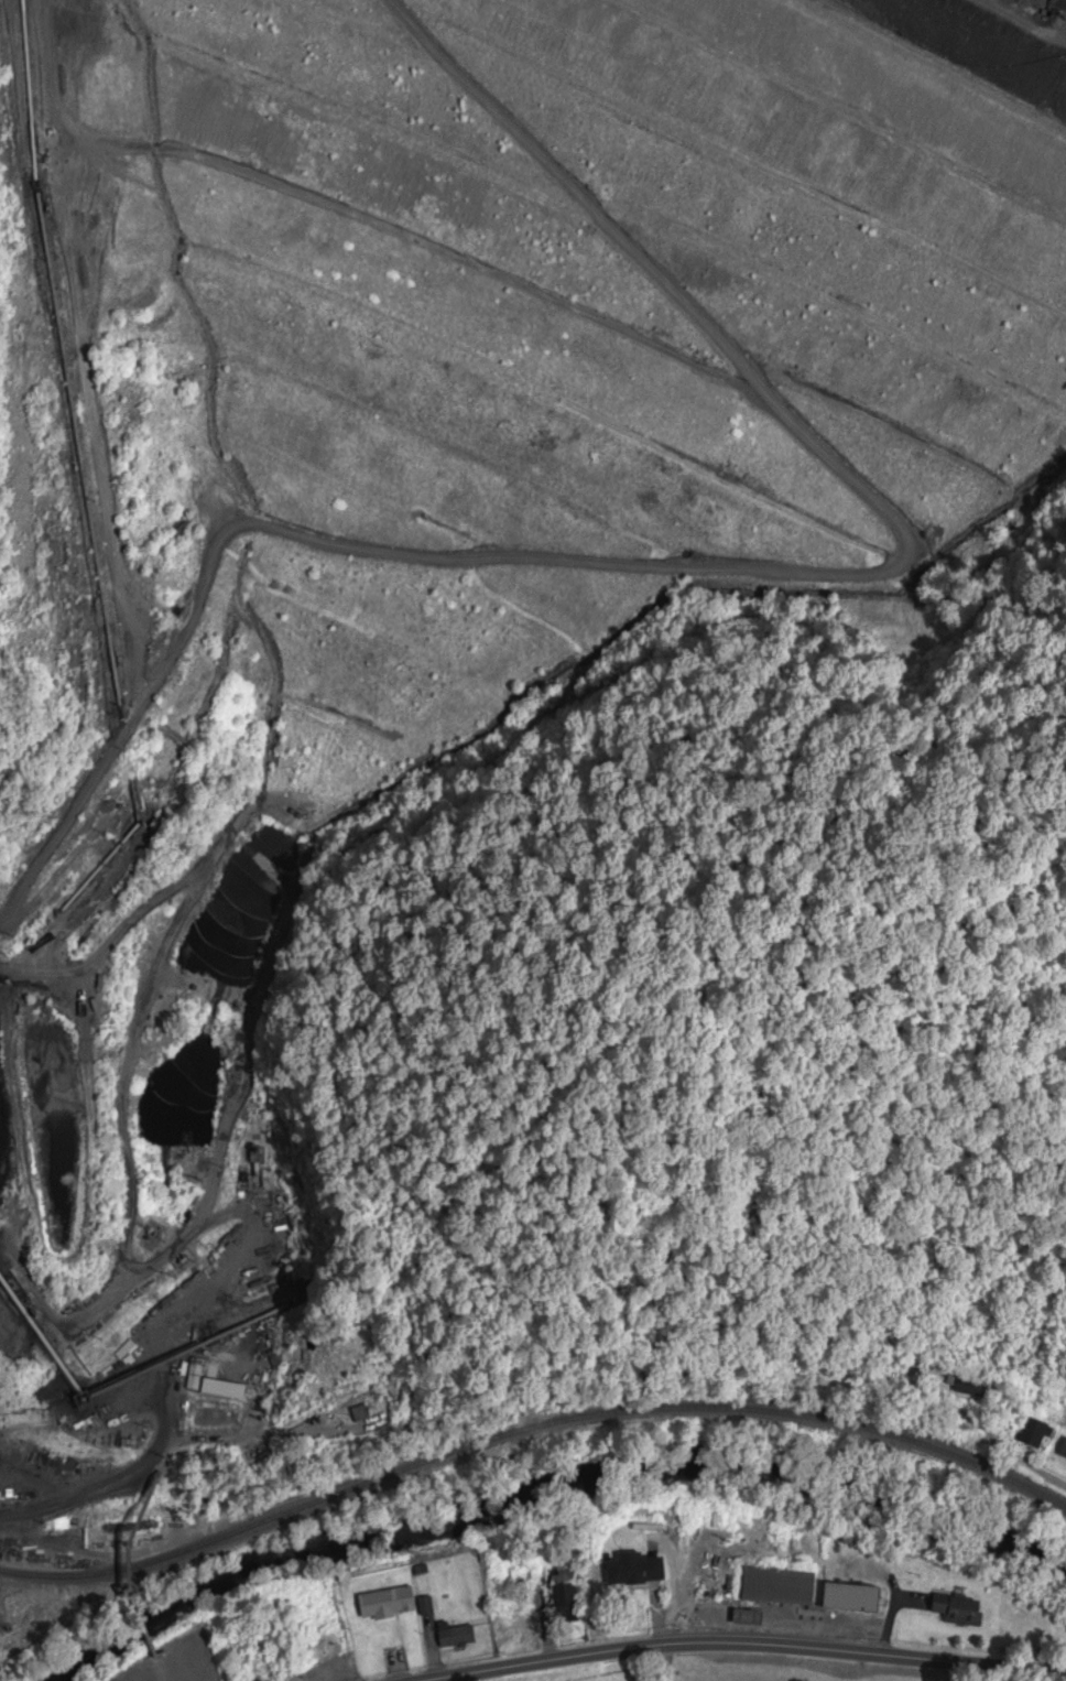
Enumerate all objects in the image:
quarry: (414, 563)
road: (813, 594)
building: (193, 1376)
building: (968, 1387)
building: (222, 1390)
building: (360, 1414)
building: (115, 1427)
railway: (530, 1431)
building: (1033, 1434)
road: (992, 1438)
building: (1063, 1451)
river: (554, 1496)
building: (634, 1571)
building: (775, 1587)
building: (564, 1596)
building: (850, 1599)
building: (385, 1604)
building: (957, 1612)
building: (455, 1637)
road: (750, 1646)

